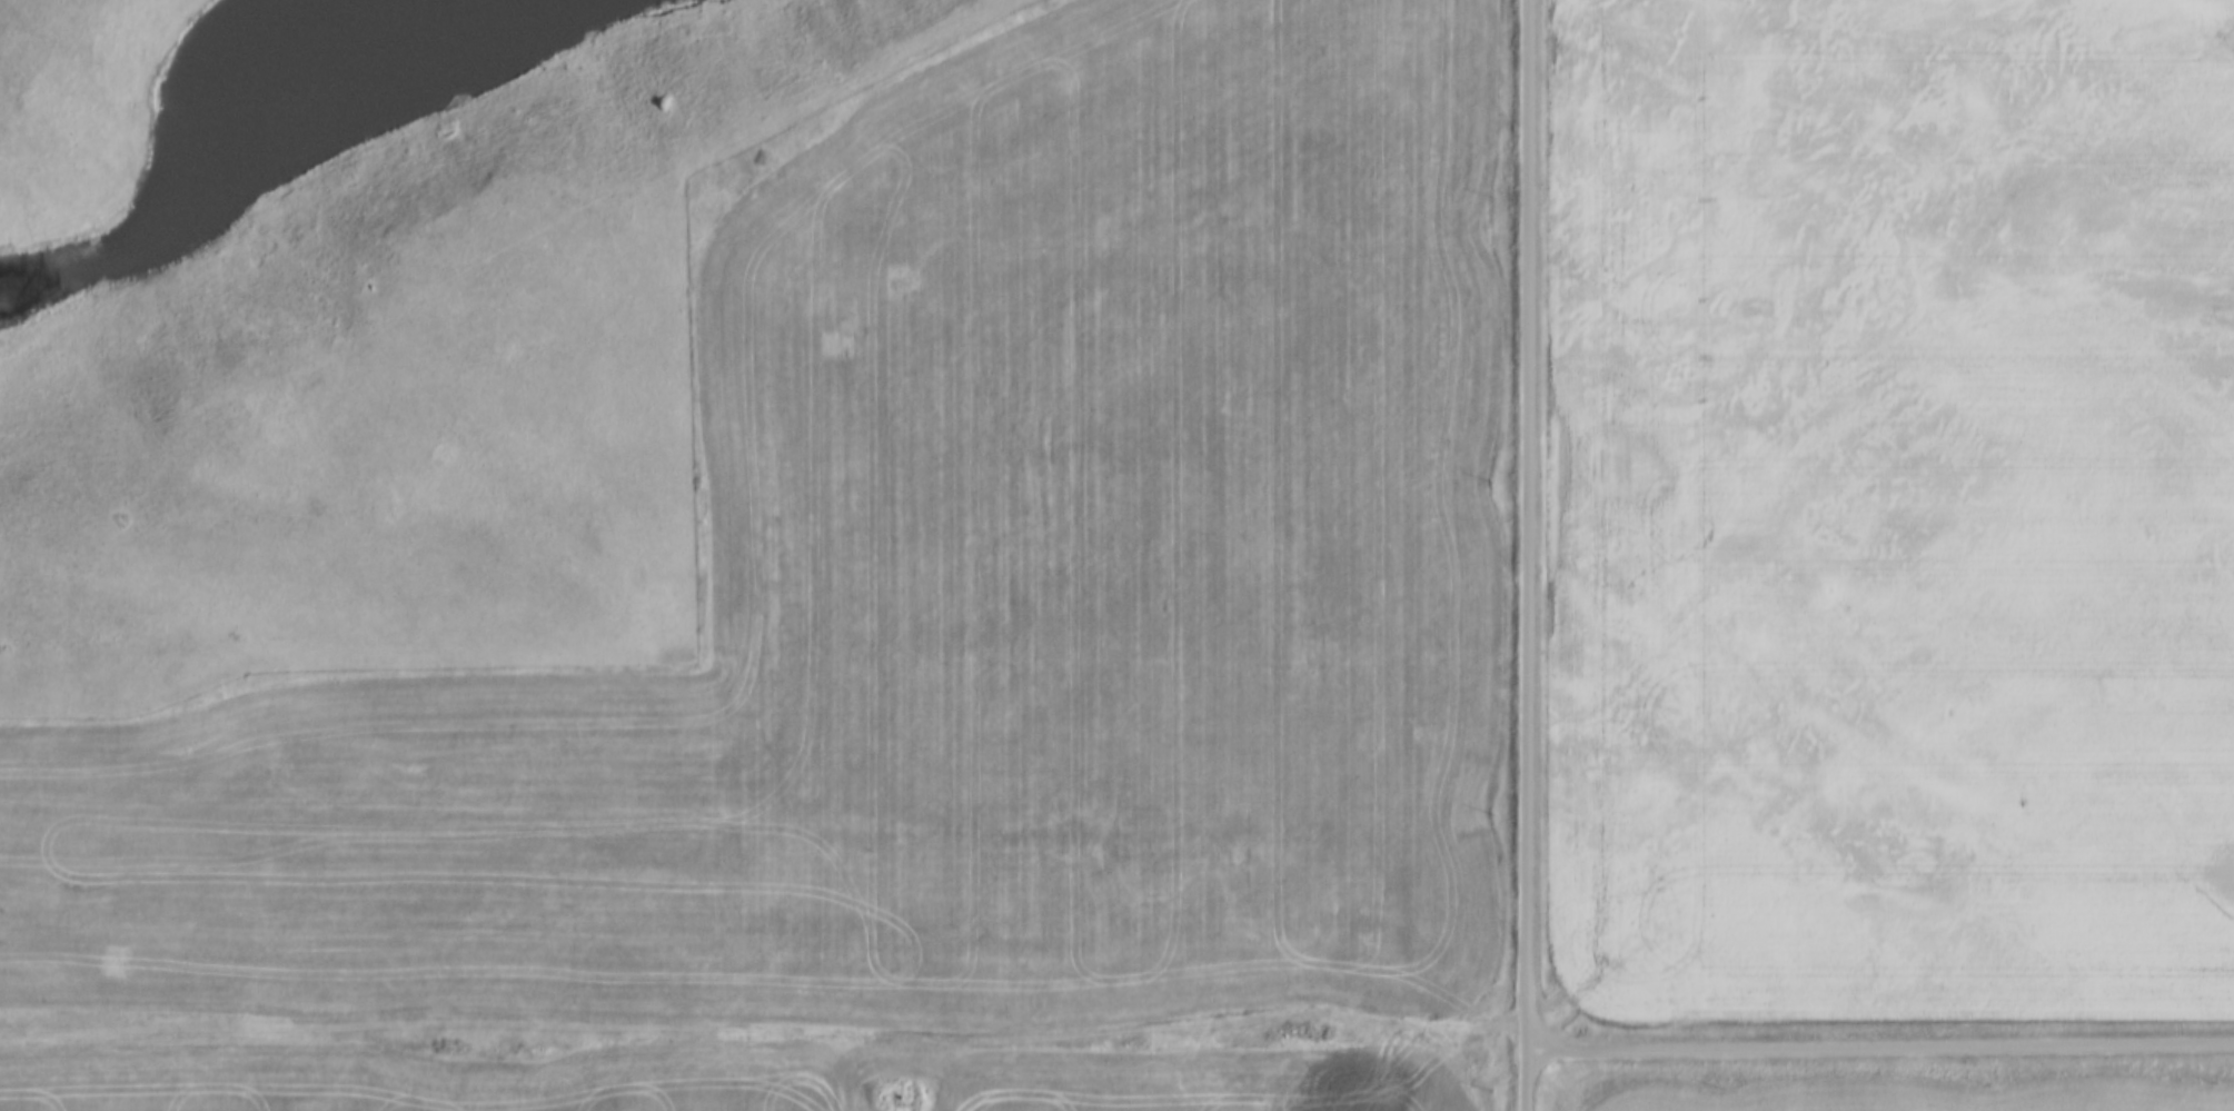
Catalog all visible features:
road: (1528, 555)
road: (765, 1032)
road: (1880, 1044)

